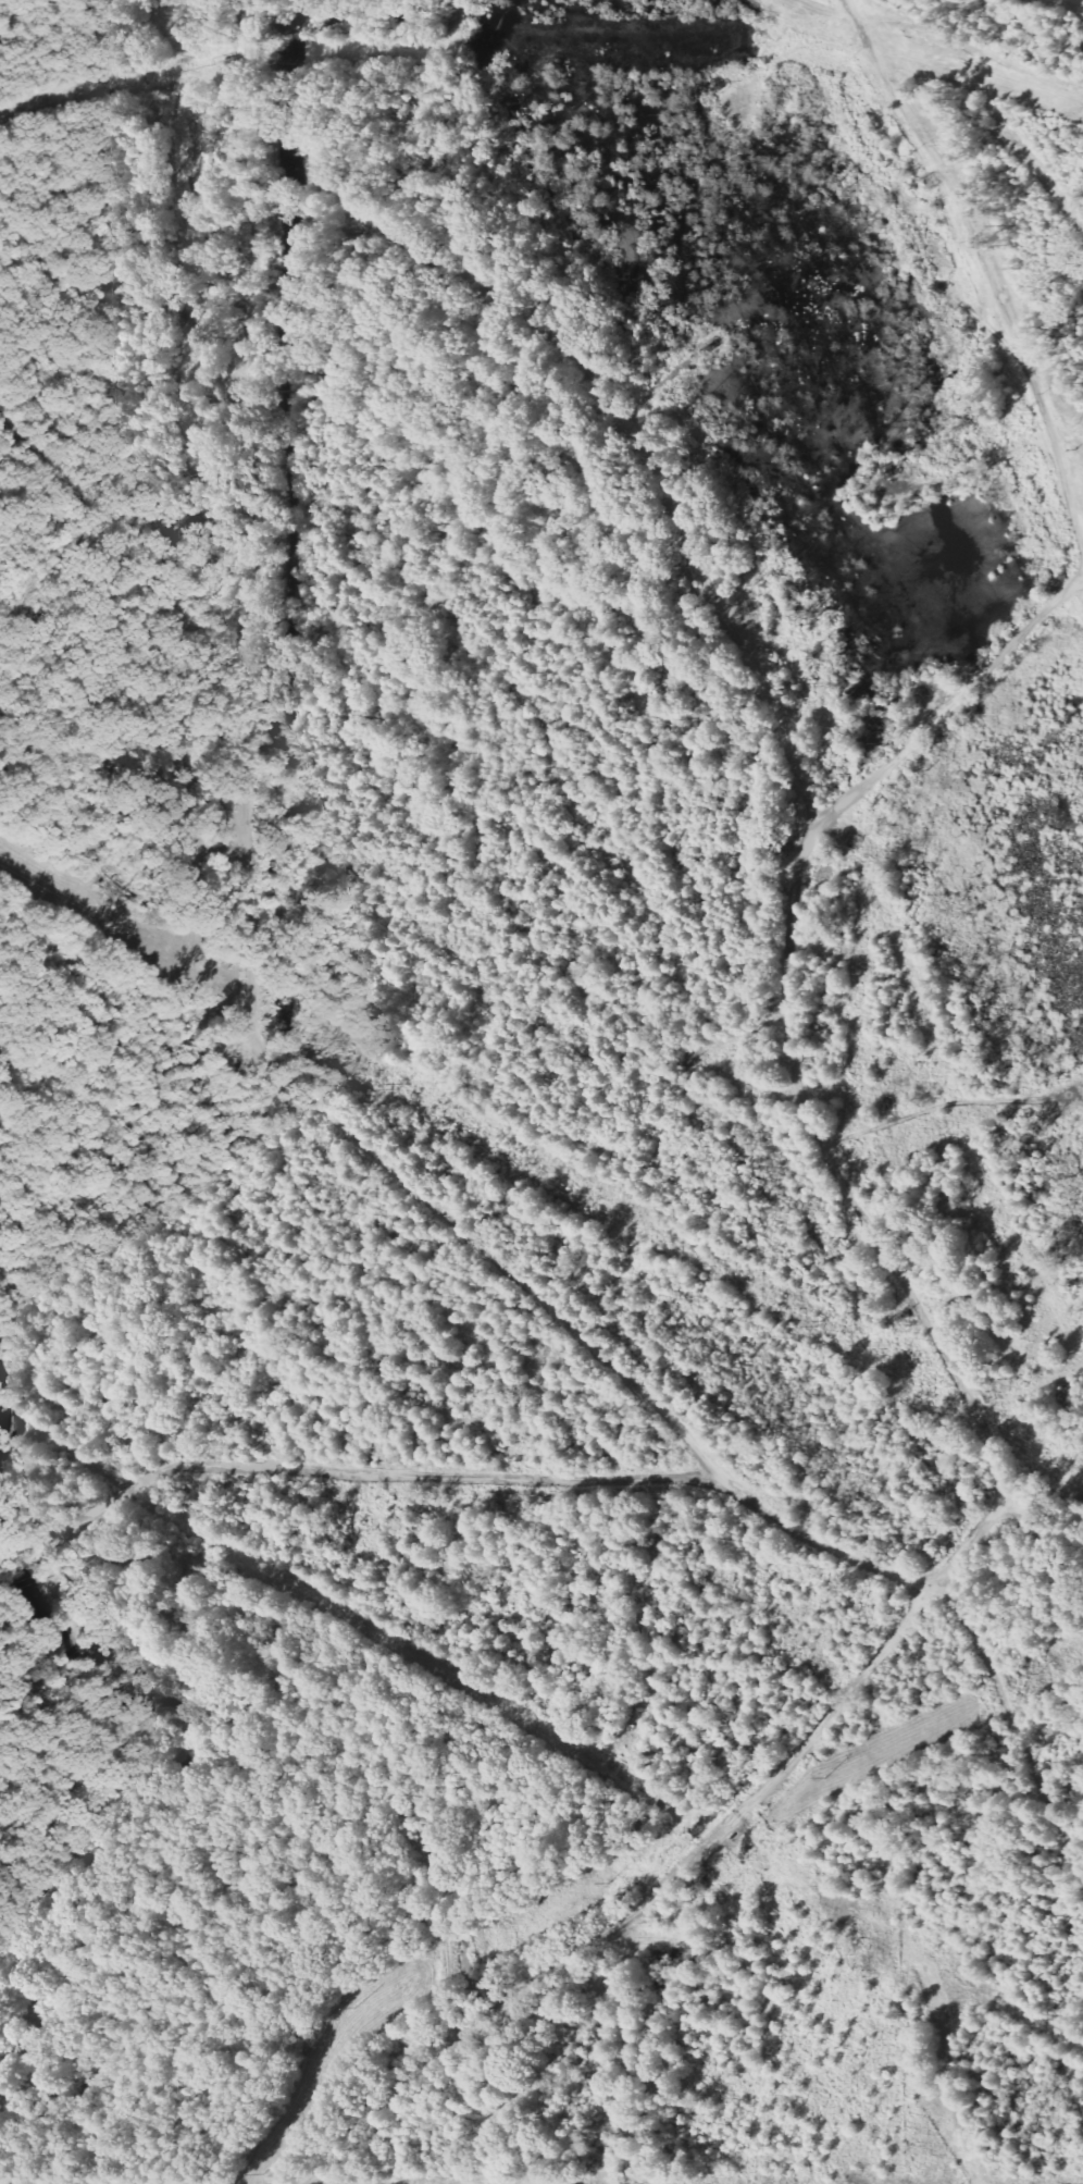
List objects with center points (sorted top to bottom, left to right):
power tower: (102, 922)
power tower: (401, 1084)
power tower: (802, 1320)

